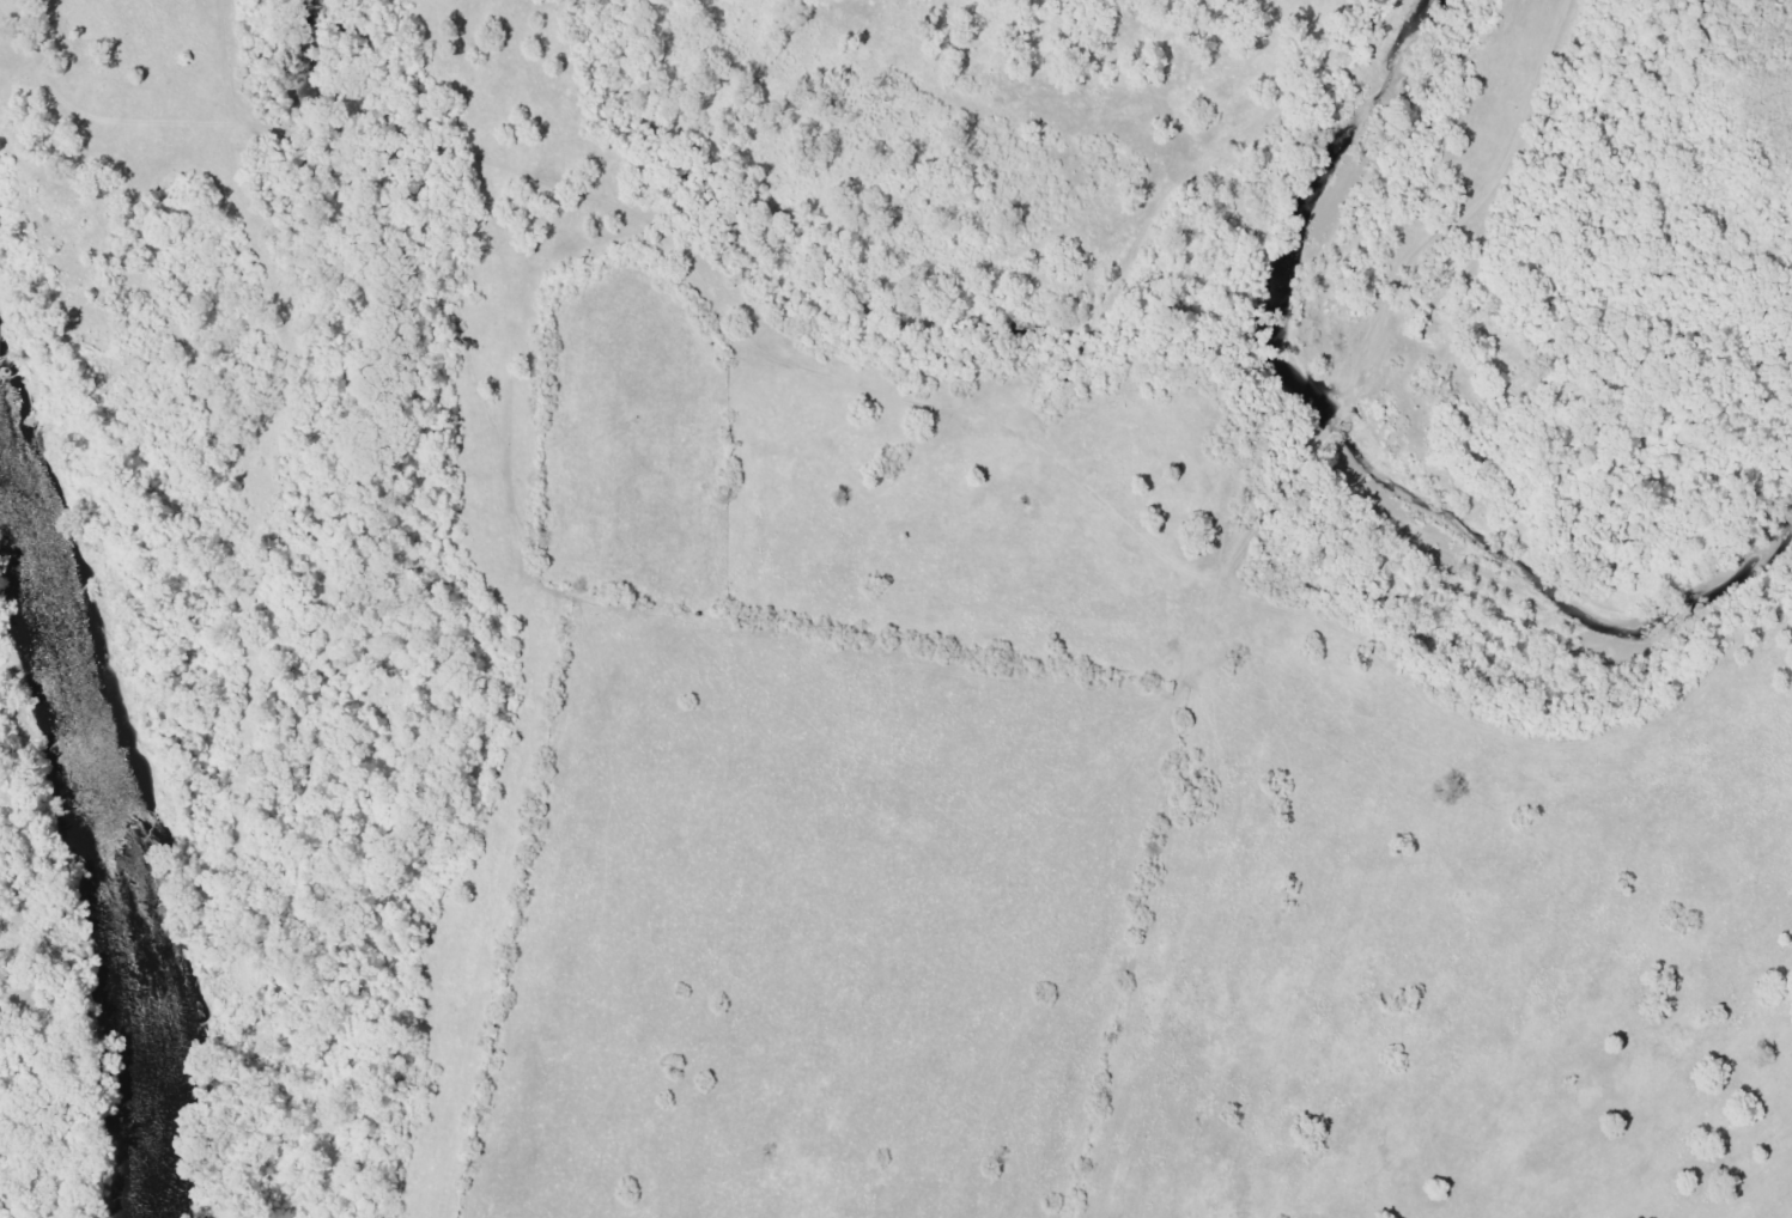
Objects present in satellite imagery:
road: (1253, 574)
river: (158, 772)
road: (2, 1214)

